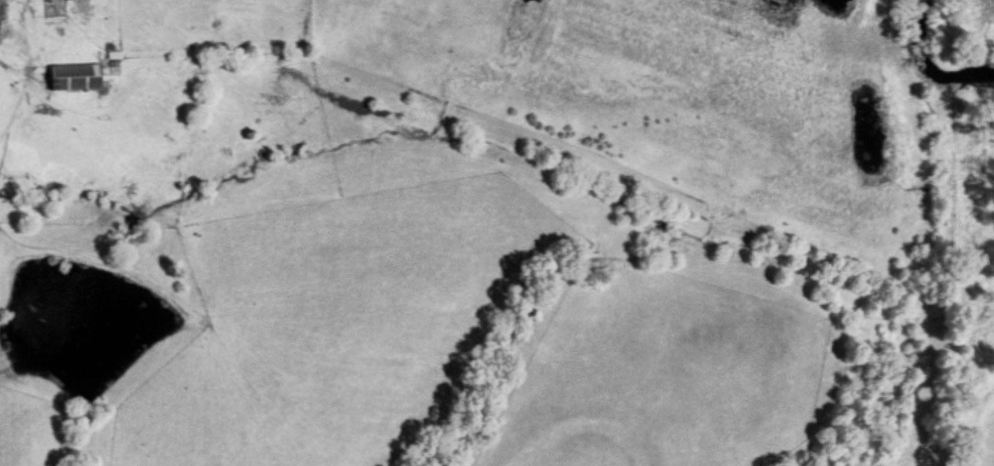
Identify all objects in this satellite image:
building: (69, 77)

